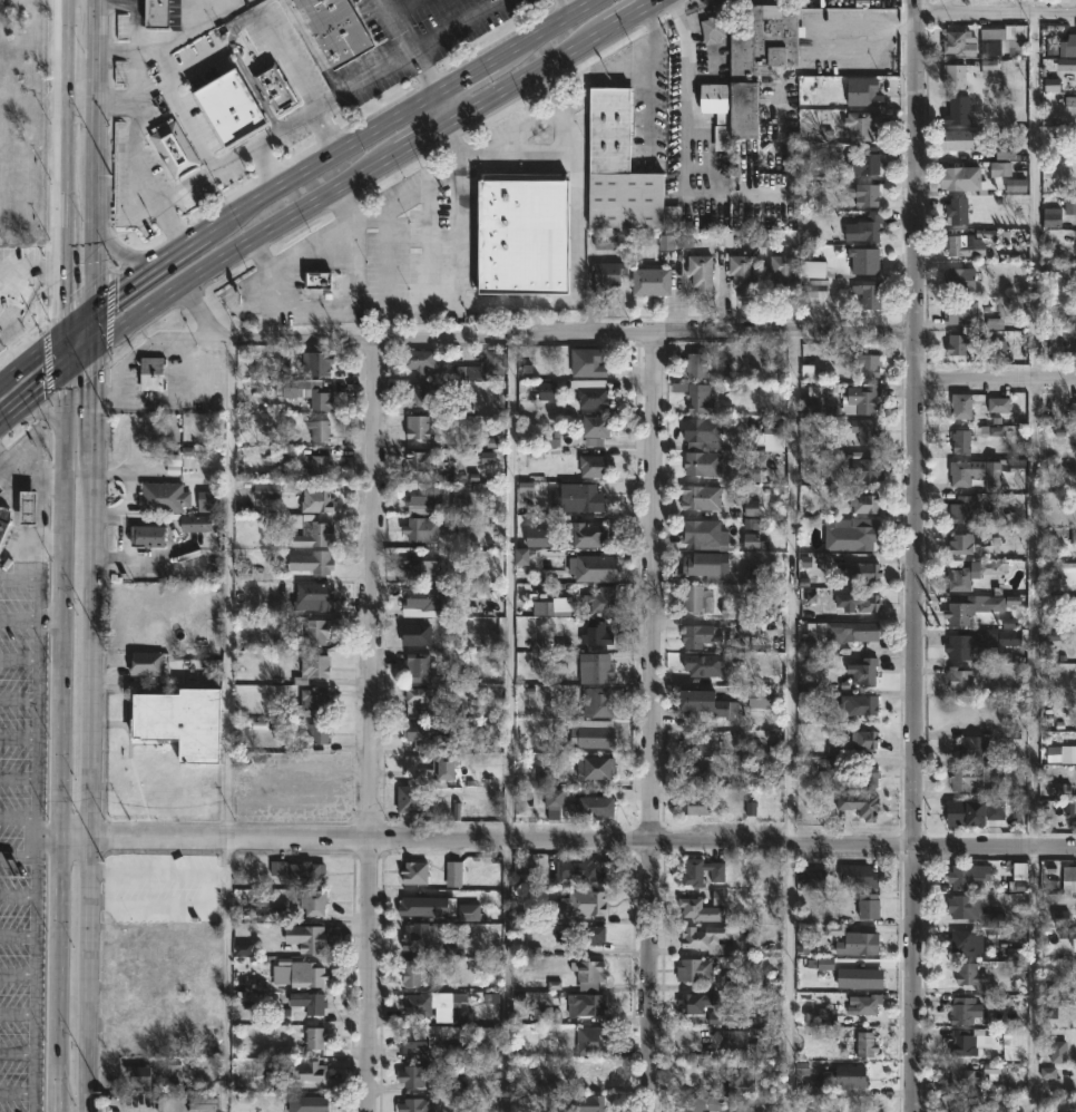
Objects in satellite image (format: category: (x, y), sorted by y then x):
road: (403, 7)
road: (571, 7)
road: (995, 11)
building: (157, 13)
road: (634, 16)
road: (454, 25)
road: (863, 25)
building: (336, 28)
building: (713, 28)
road: (550, 29)
building: (1005, 39)
building: (957, 41)
road: (411, 47)
road: (115, 49)
building: (1074, 49)
road: (160, 56)
building: (760, 59)
road: (290, 66)
building: (955, 75)
road: (530, 76)
road: (471, 77)
building: (273, 86)
building: (861, 91)
building: (716, 99)
road: (77, 101)
road: (114, 101)
road: (179, 103)
road: (447, 108)
building: (958, 108)
building: (859, 123)
road: (326, 134)
road: (427, 138)
building: (953, 138)
road: (686, 146)
building: (175, 148)
road: (711, 154)
road: (94, 157)
building: (867, 160)
building: (615, 166)
road: (324, 167)
road: (268, 168)
road: (60, 170)
building: (965, 178)
road: (178, 189)
building: (864, 193)
building: (1074, 208)
building: (955, 211)
road: (292, 221)
road: (174, 226)
building: (864, 228)
building: (522, 233)
building: (605, 243)
building: (958, 244)
road: (128, 253)
building: (863, 260)
building: (812, 267)
building: (698, 273)
building: (742, 273)
building: (783, 273)
building: (605, 274)
road: (149, 275)
building: (958, 280)
building: (319, 281)
building: (648, 281)
road: (27, 293)
building: (870, 294)
building: (959, 311)
traffic signals: (92, 314)
road: (139, 319)
road: (74, 328)
building: (0, 330)
road: (92, 333)
road: (535, 334)
building: (1063, 340)
traffic signals: (56, 342)
road: (17, 343)
building: (959, 343)
road: (143, 349)
traffic signals: (94, 352)
road: (56, 361)
building: (420, 361)
building: (316, 362)
building: (588, 362)
building: (495, 363)
building: (694, 363)
road: (28, 365)
road: (75, 365)
building: (868, 365)
building: (150, 375)
road: (994, 379)
traffic signals: (56, 380)
building: (309, 391)
building: (591, 391)
building: (423, 393)
building: (696, 397)
building: (862, 400)
road: (27, 403)
building: (963, 406)
building: (999, 406)
building: (1073, 407)
road: (912, 421)
building: (595, 426)
building: (417, 427)
building: (863, 430)
building: (320, 431)
building: (702, 432)
building: (961, 441)
building: (420, 460)
building: (703, 462)
building: (593, 465)
building: (321, 466)
building: (863, 469)
road: (27, 471)
building: (979, 474)
building: (0, 490)
building: (264, 490)
building: (162, 497)
building: (588, 497)
building: (702, 497)
building: (423, 498)
building: (316, 499)
building: (208, 500)
building: (867, 503)
building: (23, 507)
gas station: (23, 507)
road: (40, 507)
building: (965, 509)
building: (3, 518)
building: (195, 523)
road: (121, 526)
building: (306, 529)
building: (422, 529)
building: (854, 531)
building: (705, 534)
building: (145, 535)
building: (588, 535)
building: (1074, 536)
road: (20, 538)
building: (539, 538)
building: (959, 544)
road: (145, 555)
road: (1034, 556)
building: (312, 562)
building: (705, 564)
building: (421, 567)
building: (595, 567)
building: (858, 572)
building: (1068, 572)
road: (19, 578)
building: (961, 579)
building: (313, 596)
building: (697, 598)
building: (428, 599)
building: (601, 599)
building: (855, 601)
building: (974, 607)
road: (48, 618)
building: (316, 630)
building: (855, 631)
building: (596, 632)
building: (417, 633)
building: (1069, 634)
building: (698, 635)
building: (968, 642)
building: (146, 662)
building: (418, 665)
building: (702, 665)
building: (313, 666)
building: (595, 670)
building: (863, 671)
building: (960, 679)
building: (761, 698)
building: (424, 700)
building: (313, 701)
building: (597, 702)
building: (712, 703)
building: (854, 705)
road: (36, 720)
road: (651, 721)
road: (792, 721)
road: (510, 723)
building: (182, 724)
road: (227, 725)
road: (368, 725)
road: (92, 731)
building: (320, 732)
building: (424, 734)
building: (594, 735)
building: (697, 739)
building: (863, 739)
road: (59, 745)
building: (976, 747)
building: (438, 770)
building: (595, 770)
building: (698, 774)
building: (972, 776)
building: (863, 777)
building: (178, 790)
building: (410, 798)
building: (554, 803)
building: (694, 803)
building: (859, 804)
building: (593, 807)
building: (1072, 807)
building: (976, 811)
road: (76, 836)
road: (501, 839)
road: (994, 845)
building: (587, 870)
building: (701, 871)
building: (309, 872)
building: (415, 872)
building: (1075, 872)
building: (454, 875)
building: (855, 876)
building: (810, 878)
building: (968, 878)
building: (313, 903)
building: (588, 904)
building: (422, 905)
building: (868, 906)
building: (972, 909)
building: (700, 910)
building: (468, 911)
building: (580, 933)
building: (417, 936)
building: (306, 938)
building: (707, 938)
building: (968, 943)
building: (860, 944)
building: (693, 970)
road: (33, 973)
building: (409, 973)
building: (587, 973)
building: (310, 974)
building: (971, 977)
road: (913, 978)
building: (870, 981)
building: (428, 1002)
building: (310, 1003)
building: (695, 1003)
building: (587, 1004)
building: (861, 1004)
building: (965, 1011)
building: (315, 1037)
building: (593, 1040)
building: (963, 1041)
building: (414, 1042)
building: (742, 1042)
building: (868, 1046)
building: (309, 1072)
building: (573, 1073)
building: (415, 1074)
building: (139, 1075)
building: (967, 1080)
building: (838, 1081)
building: (736, 1083)
building: (306, 1103)
building: (583, 1103)
building: (701, 1104)
building: (961, 1104)
building: (417, 1105)

